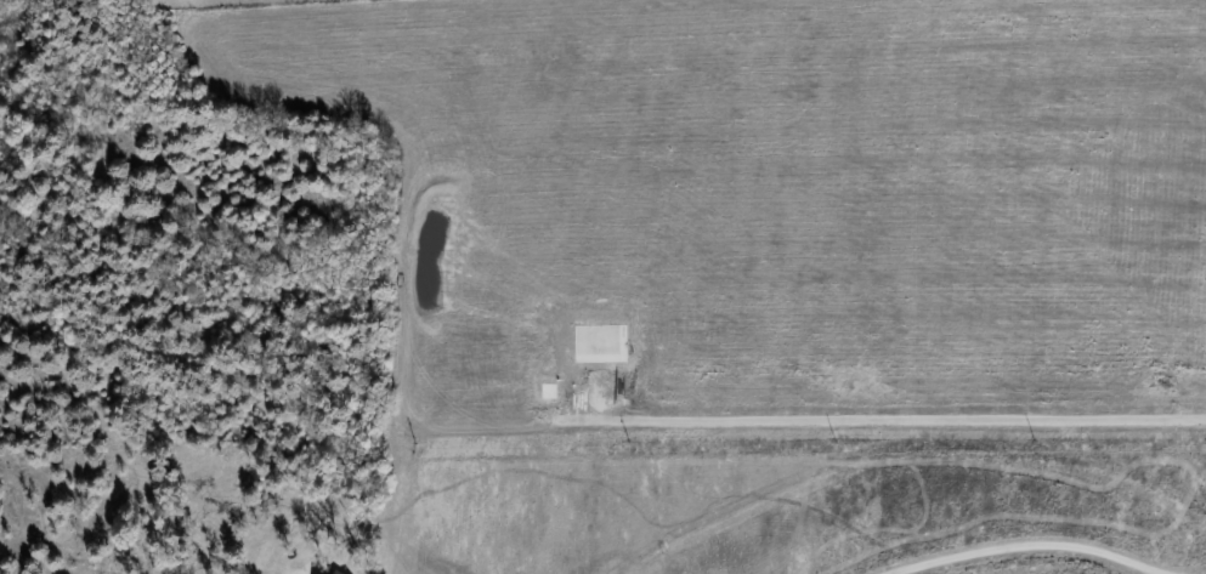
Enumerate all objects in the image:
road: (1032, 544)

